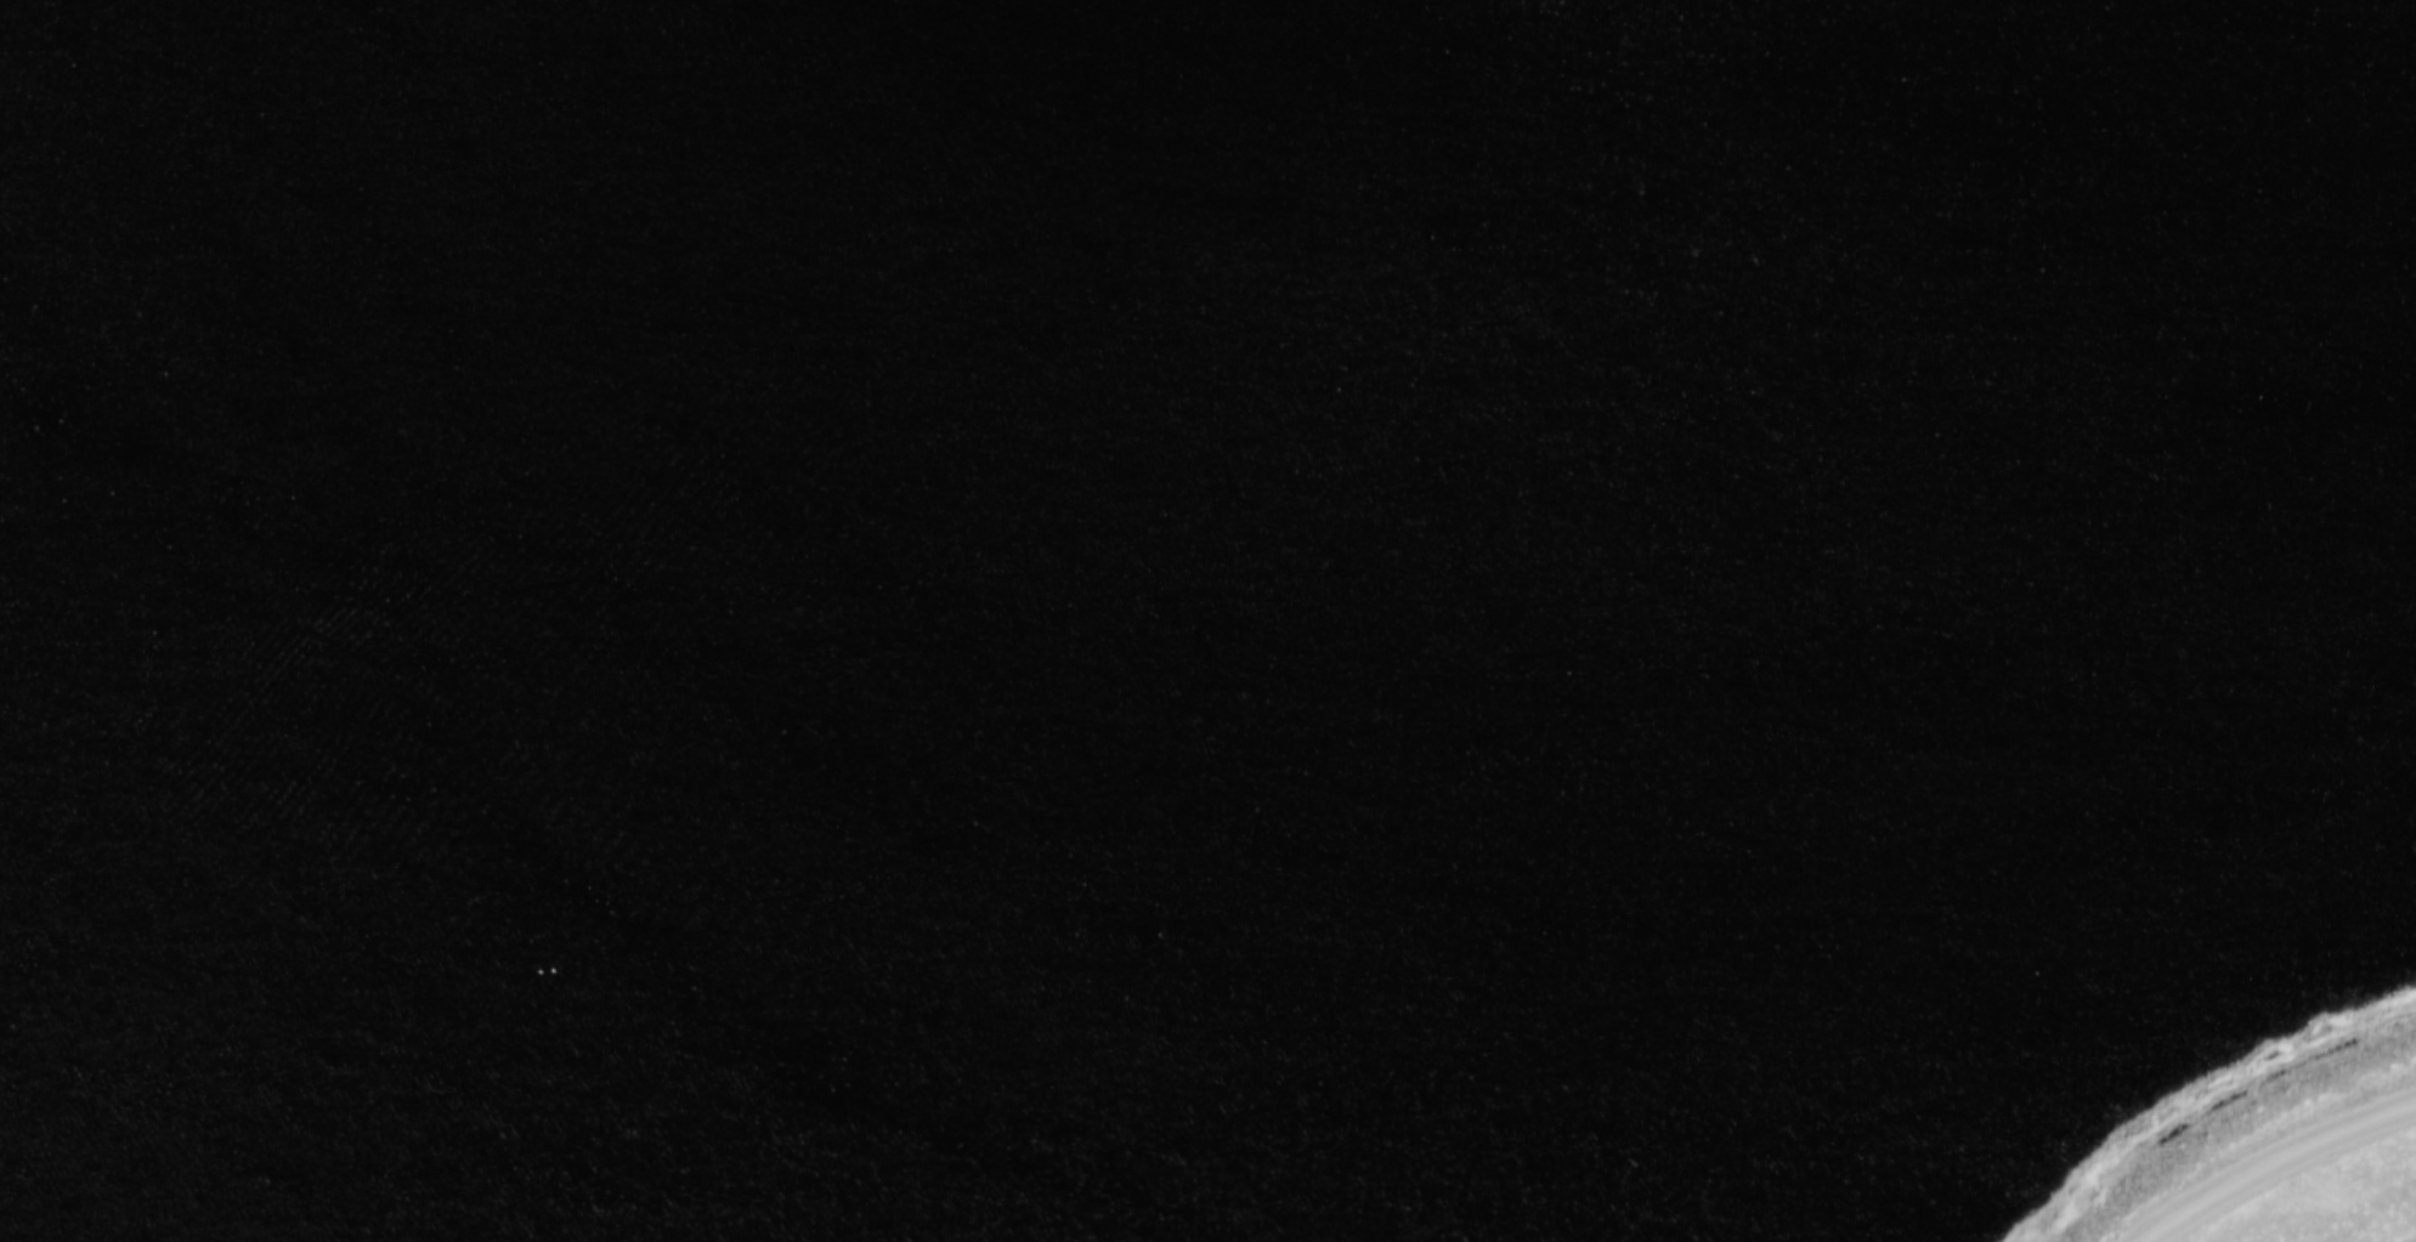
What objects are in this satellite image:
road: (2245, 1132)

